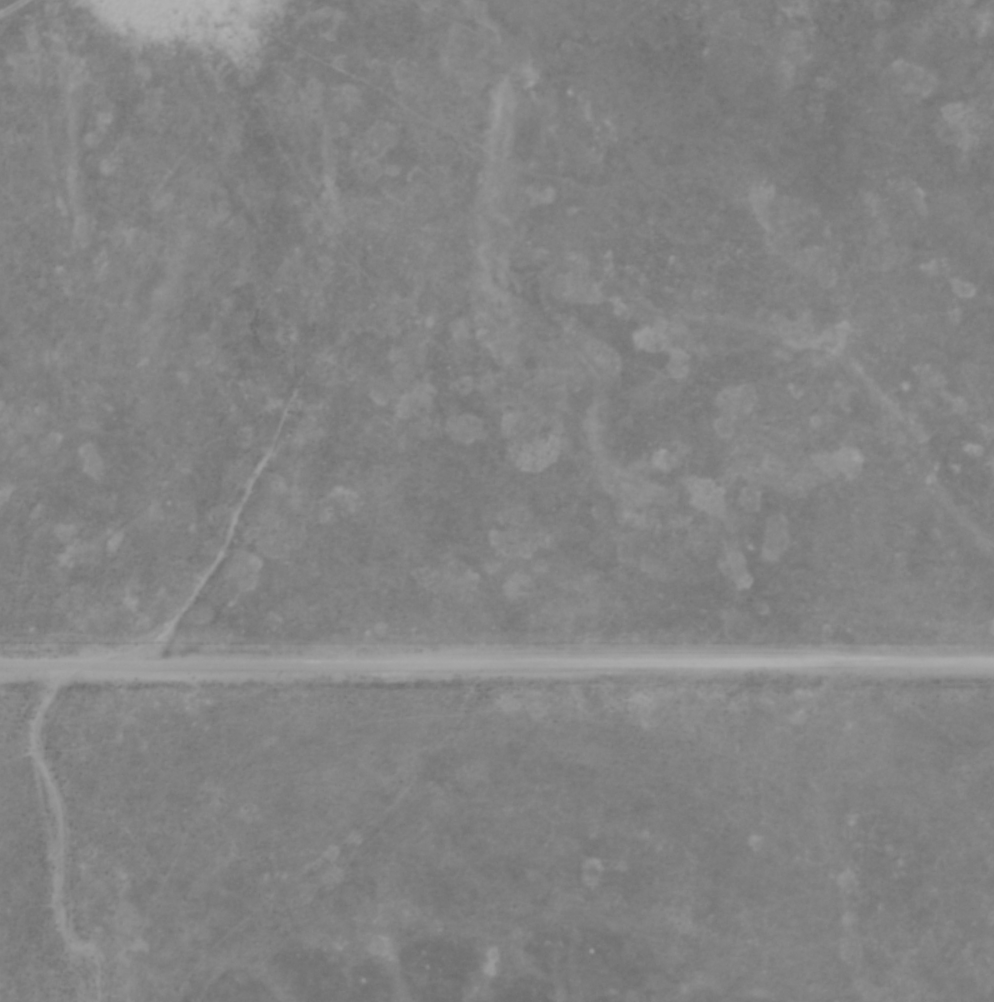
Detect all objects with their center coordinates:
road: (497, 663)

